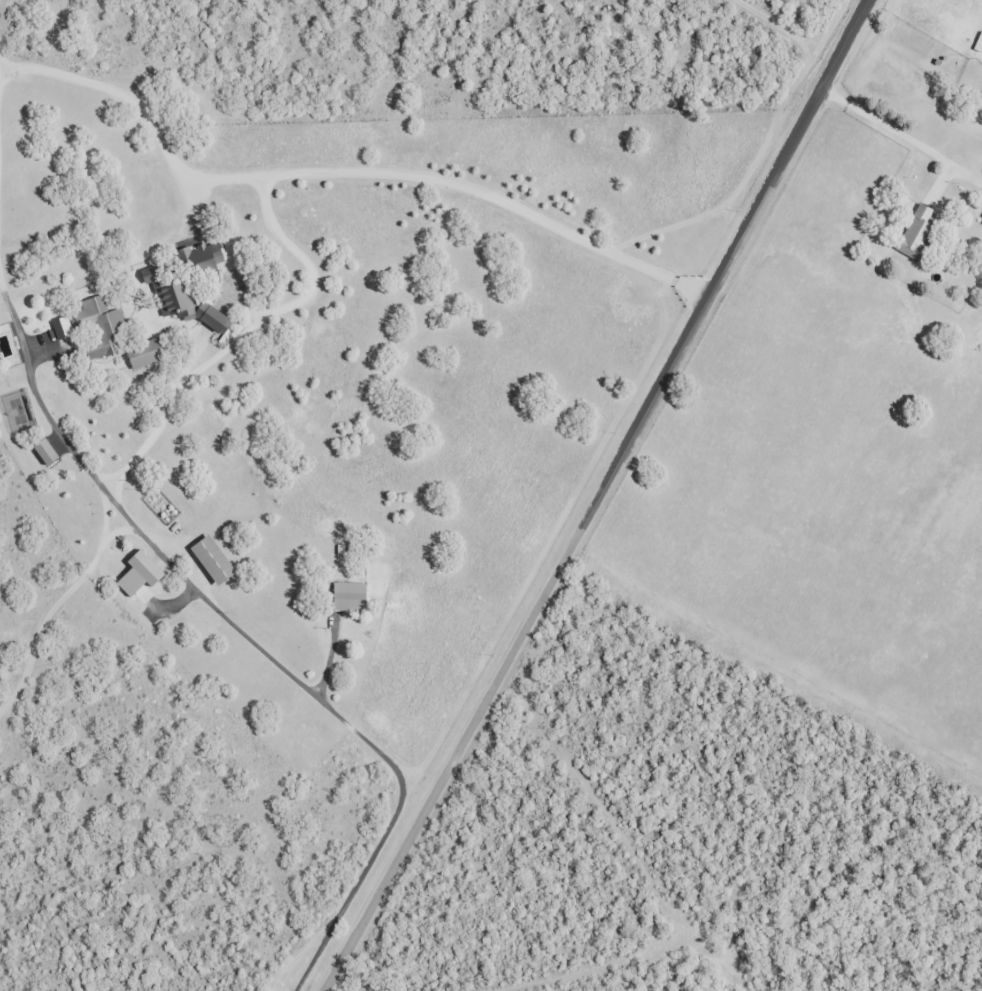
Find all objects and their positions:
road: (779, 33)
building: (978, 42)
road: (896, 129)
road: (336, 180)
building: (915, 234)
building: (97, 327)
road: (234, 331)
building: (142, 353)
building: (41, 450)
road: (595, 495)
road: (106, 528)
road: (98, 554)
building: (209, 558)
building: (136, 572)
building: (346, 596)
road: (250, 633)
road: (693, 981)
road: (353, 982)

